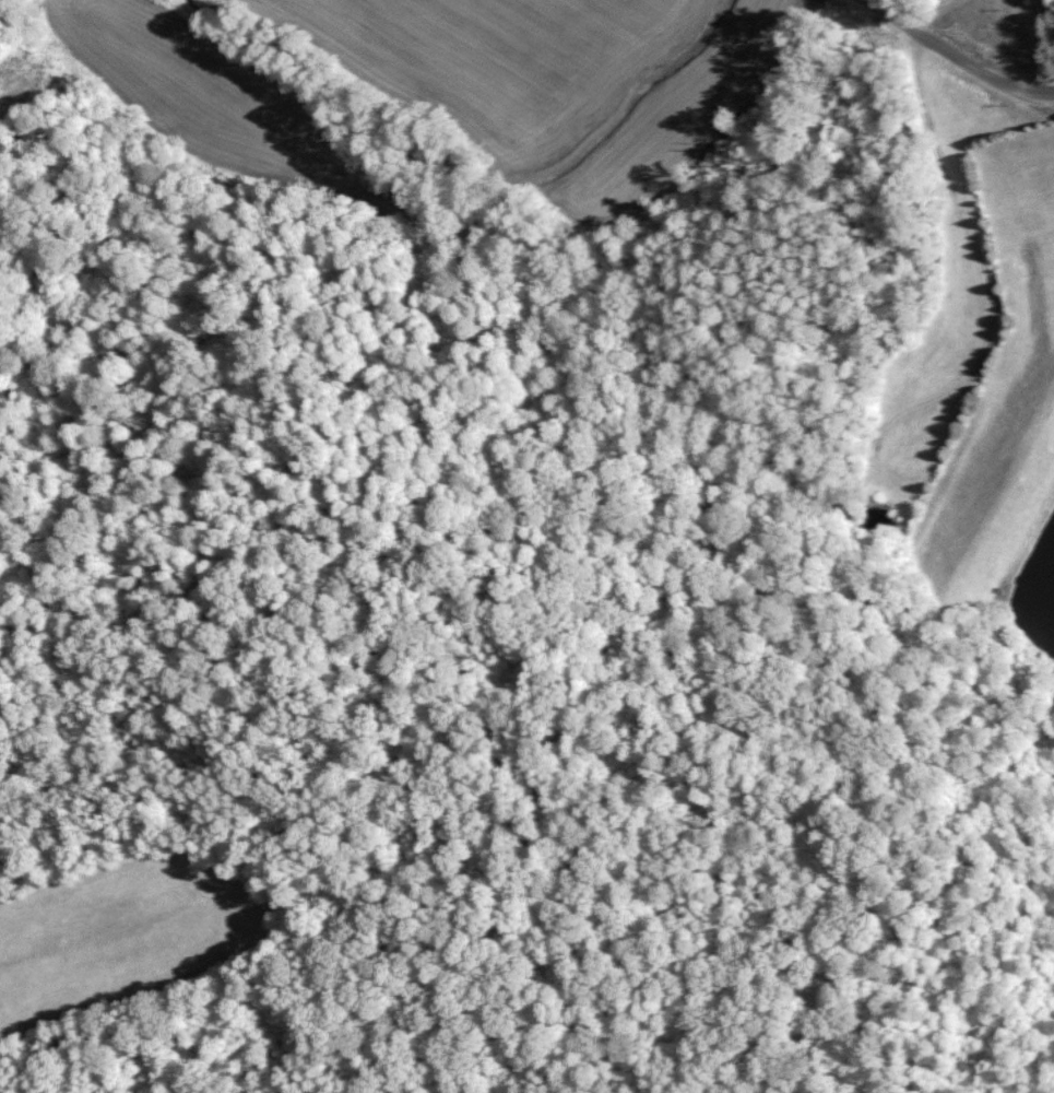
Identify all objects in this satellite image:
road: (956, 55)

